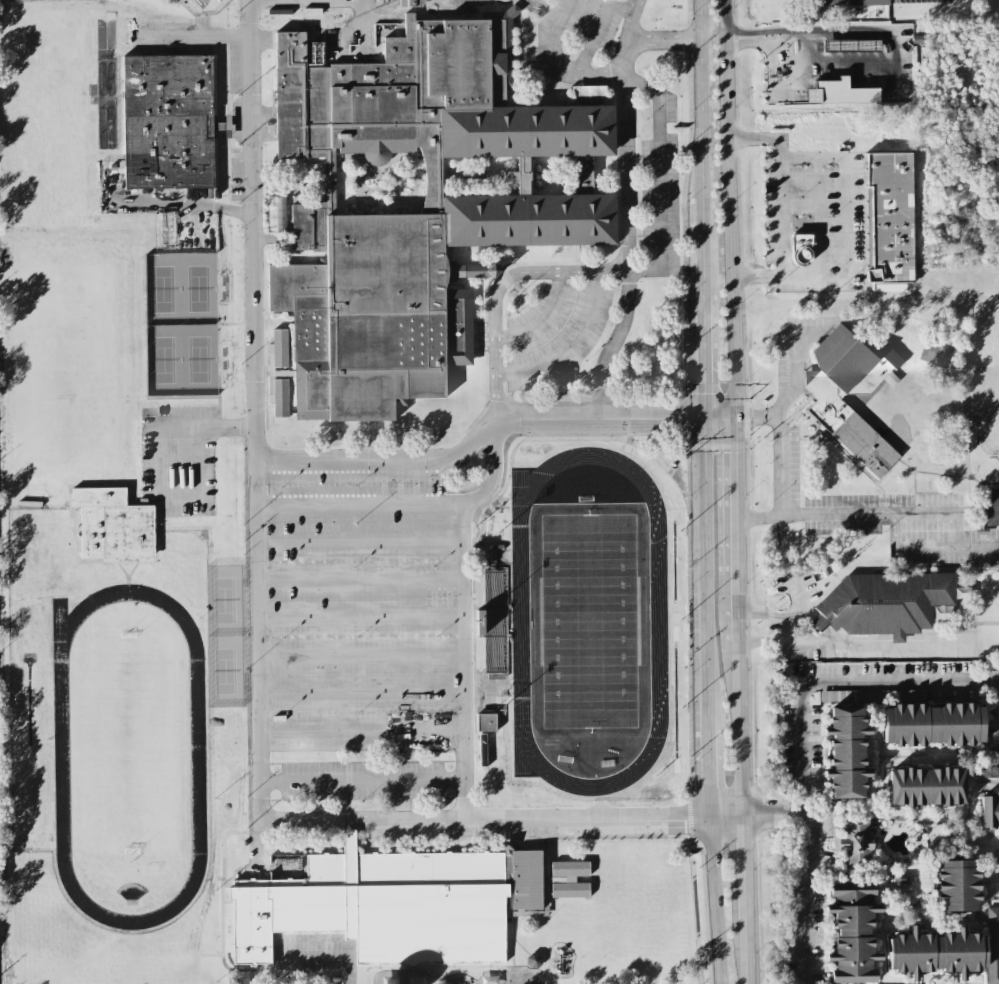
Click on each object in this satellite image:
building: (218, 0)
building: (200, 2)
building: (854, 2)
road: (358, 28)
road: (877, 29)
road: (647, 37)
road: (626, 52)
road: (557, 61)
road: (700, 84)
building: (840, 91)
road: (105, 110)
building: (167, 120)
road: (659, 156)
road: (699, 199)
building: (415, 201)
road: (844, 204)
road: (729, 211)
building: (275, 213)
road: (780, 215)
building: (889, 219)
road: (627, 245)
building: (802, 246)
road: (644, 266)
road: (498, 285)
road: (542, 317)
road: (701, 326)
road: (569, 344)
park: (61, 360)
traffic signals: (704, 391)
building: (846, 392)
building: (280, 397)
road: (251, 409)
road: (758, 415)
traffic signals: (752, 418)
traffic signals: (678, 422)
road: (781, 424)
road: (163, 425)
road: (488, 425)
road: (227, 427)
road: (704, 437)
traffic signals: (736, 451)
road: (736, 483)
road: (356, 502)
road: (704, 503)
building: (991, 505)
road: (843, 514)
building: (113, 523)
road: (356, 539)
road: (960, 545)
road: (736, 557)
road: (355, 575)
building: (884, 602)
road: (737, 605)
road: (462, 609)
road: (356, 616)
track: (520, 618)
park: (589, 618)
building: (493, 620)
road: (786, 627)
road: (705, 630)
parking lot: (357, 636)
road: (879, 641)
road: (357, 653)
road: (848, 680)
road: (358, 692)
building: (486, 721)
building: (933, 723)
road: (739, 726)
road: (359, 729)
park: (126, 740)
building: (846, 751)
track: (61, 755)
road: (708, 759)
building: (992, 762)
road: (360, 780)
building: (926, 785)
road: (804, 800)
building: (989, 810)
road: (804, 812)
road: (499, 817)
building: (855, 841)
road: (253, 842)
road: (742, 852)
building: (568, 878)
building: (957, 884)
road: (714, 898)
building: (393, 903)
road: (744, 909)
building: (852, 931)
road: (802, 933)
building: (992, 943)
building: (936, 951)
road: (745, 954)
building: (533, 959)

